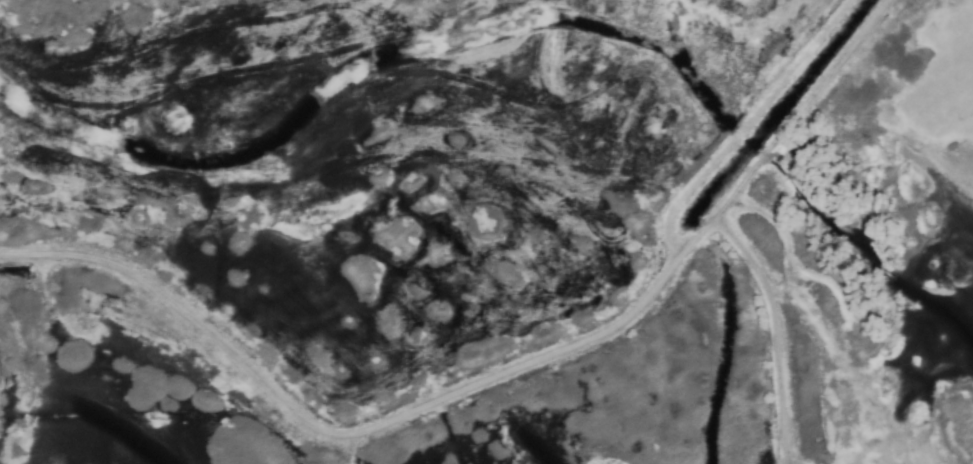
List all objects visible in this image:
road: (779, 133)
road: (772, 335)
road: (329, 433)

